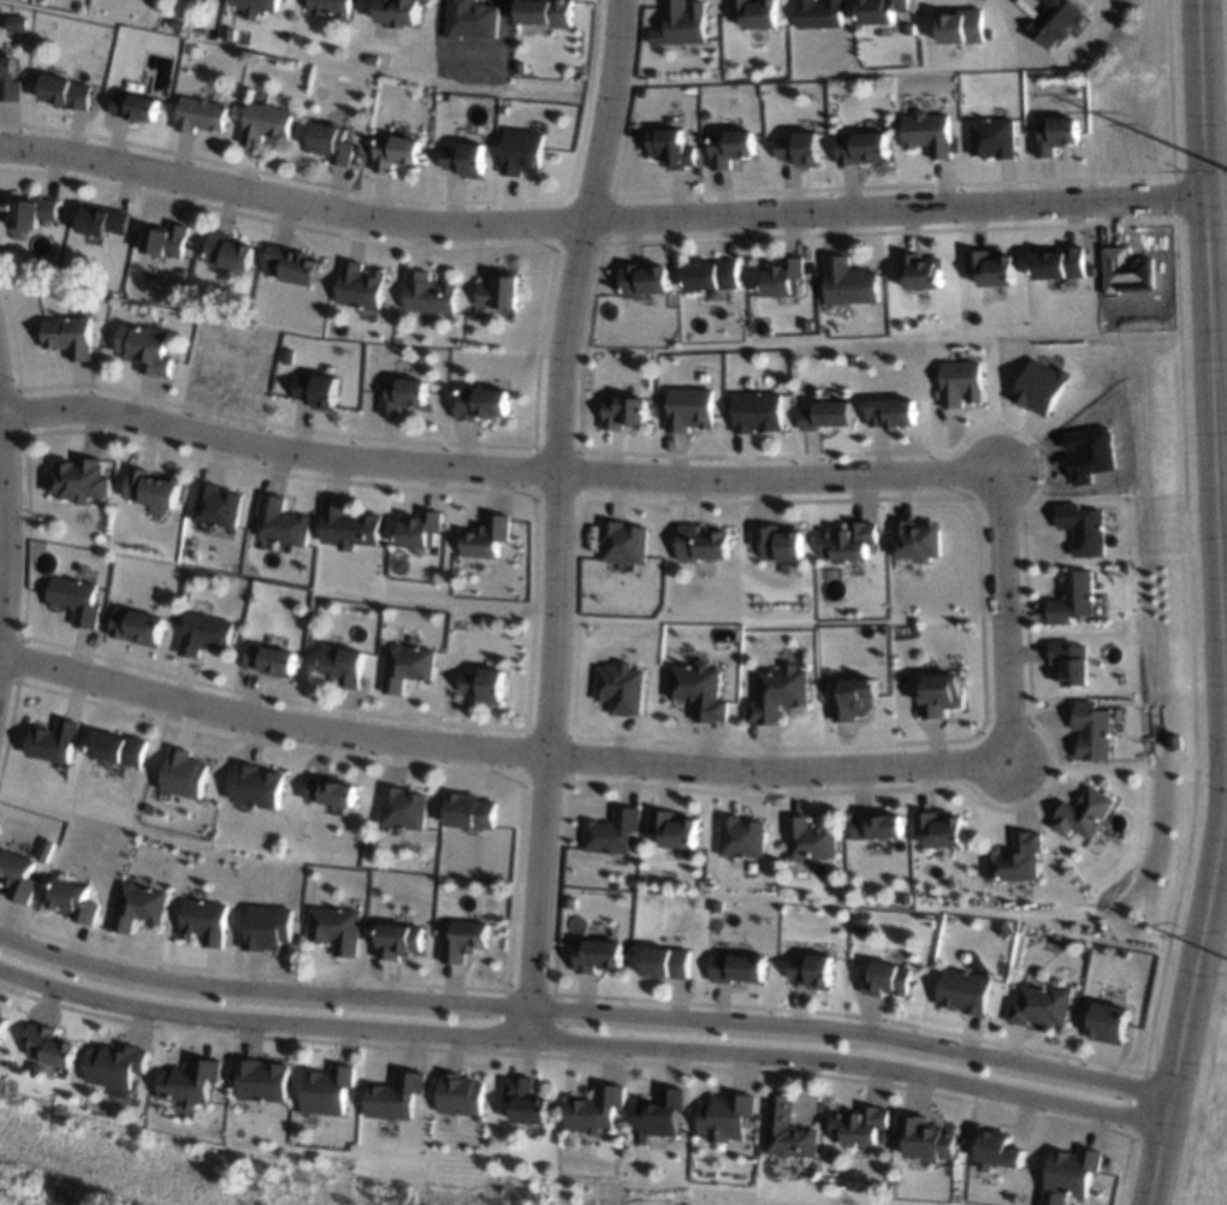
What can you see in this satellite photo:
building: (256, 7)
building: (331, 7)
building: (878, 11)
building: (399, 12)
building: (544, 12)
building: (818, 13)
building: (470, 19)
building: (1053, 22)
building: (16, 23)
building: (681, 23)
building: (960, 26)
building: (7, 81)
building: (65, 93)
building: (135, 106)
building: (198, 114)
building: (265, 123)
park: (1222, 131)
building: (927, 132)
building: (1054, 135)
building: (991, 137)
building: (331, 143)
building: (729, 147)
building: (860, 148)
building: (671, 149)
building: (798, 149)
building: (520, 152)
building: (395, 153)
building: (462, 159)
building: (30, 212)
building: (99, 220)
road: (597, 220)
building: (164, 239)
building: (230, 251)
building: (1057, 262)
building: (291, 266)
building: (990, 267)
building: (920, 272)
building: (710, 275)
building: (781, 278)
building: (642, 279)
building: (847, 281)
building: (358, 285)
building: (499, 291)
building: (428, 293)
building: (69, 336)
building: (146, 349)
building: (959, 384)
building: (1038, 387)
building: (316, 391)
building: (402, 394)
building: (481, 403)
building: (687, 409)
building: (622, 411)
building: (754, 411)
building: (889, 412)
building: (824, 415)
building: (1086, 453)
road: (488, 473)
building: (78, 480)
building: (153, 489)
road: (0, 505)
building: (217, 505)
road: (550, 517)
building: (281, 522)
building: (349, 527)
building: (419, 529)
building: (1080, 529)
building: (486, 536)
building: (914, 540)
building: (622, 542)
building: (777, 542)
building: (847, 542)
building: (701, 544)
building: (1071, 598)
building: (72, 600)
road: (1215, 606)
road: (992, 615)
building: (135, 627)
building: (202, 634)
building: (268, 660)
building: (1069, 661)
building: (340, 665)
building: (404, 666)
building: (481, 685)
building: (618, 688)
building: (697, 690)
building: (776, 693)
building: (938, 694)
building: (852, 699)
building: (1091, 731)
building: (52, 741)
building: (115, 748)
road: (494, 752)
building: (183, 773)
building: (256, 785)
building: (330, 791)
building: (402, 808)
building: (468, 811)
building: (1081, 814)
building: (876, 826)
building: (674, 829)
building: (943, 830)
building: (611, 831)
building: (741, 837)
building: (808, 839)
building: (1014, 859)
building: (16, 877)
building: (70, 901)
building: (135, 906)
building: (202, 922)
building: (265, 927)
building: (333, 928)
building: (397, 940)
building: (462, 940)
building: (598, 955)
building: (666, 962)
building: (737, 967)
building: (885, 979)
building: (961, 991)
building: (1036, 1005)
road: (579, 1013)
building: (0, 1016)
building: (1106, 1022)
building: (2, 1029)
road: (575, 1043)
building: (48, 1046)
building: (115, 1065)
building: (260, 1079)
building: (189, 1081)
building: (326, 1090)
building: (395, 1096)
building: (461, 1096)
park: (1204, 1096)
building: (527, 1100)
building: (595, 1109)
building: (660, 1115)
building: (727, 1116)
building: (861, 1126)
building: (788, 1130)
building: (925, 1138)
building: (997, 1151)
building: (1068, 1174)
park: (261, 1177)

